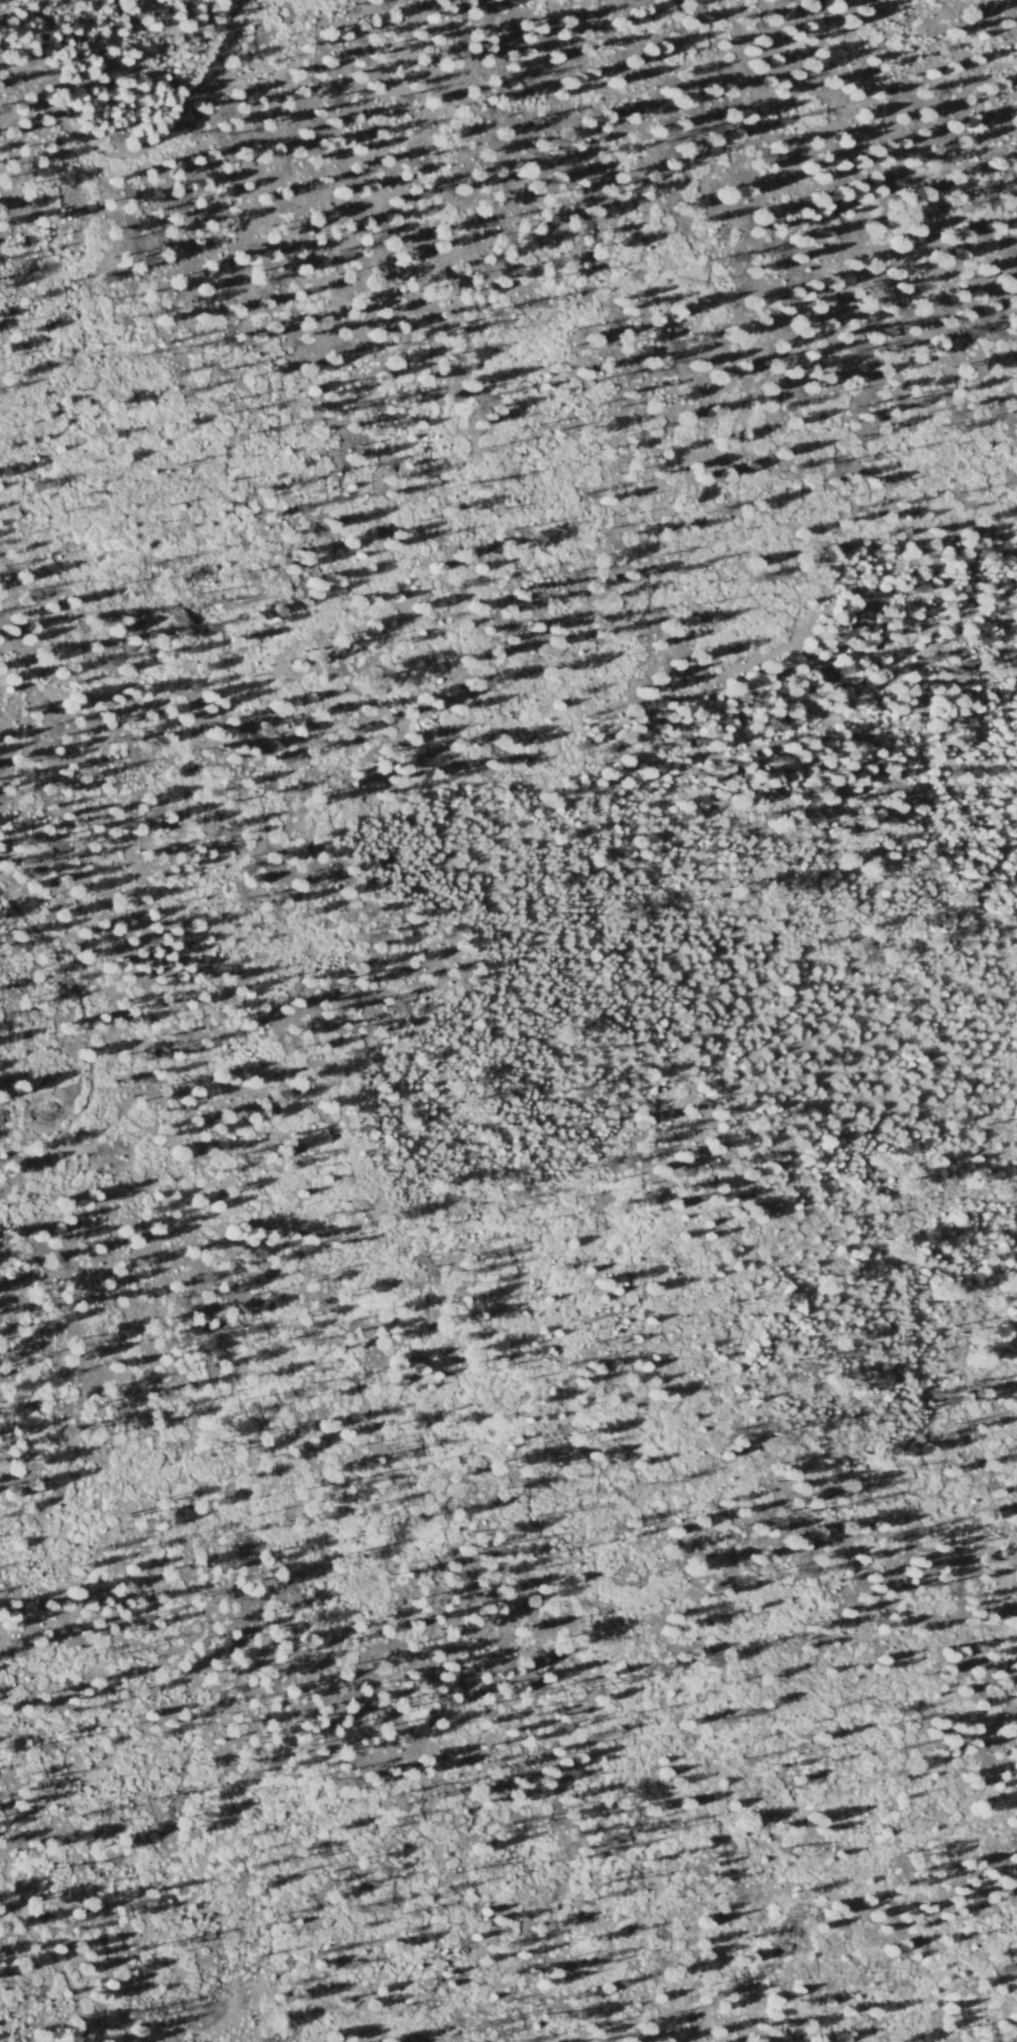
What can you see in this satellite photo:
road: (57, 45)
road: (122, 76)
road: (38, 1071)

